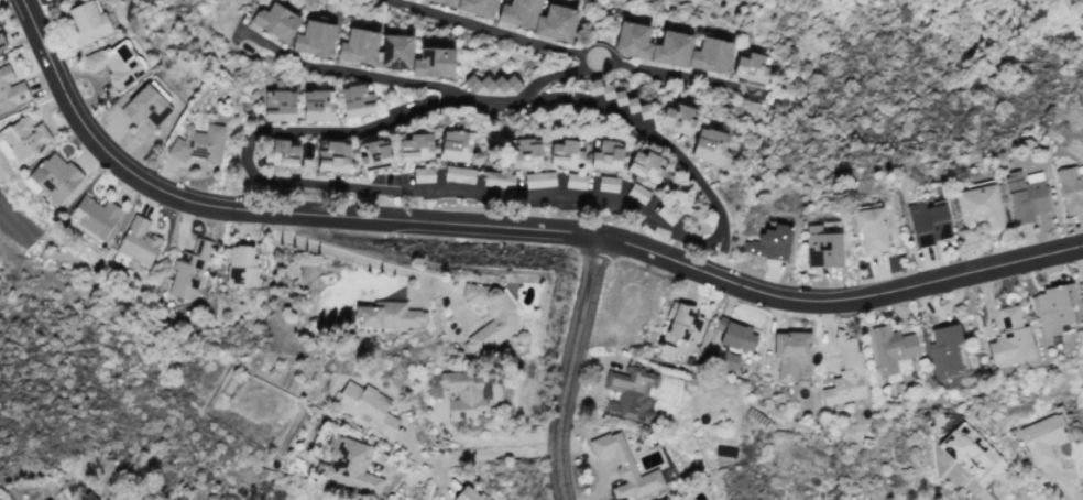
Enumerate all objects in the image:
building: (472, 6)
building: (88, 18)
building: (275, 21)
building: (562, 23)
road: (503, 33)
building: (314, 37)
building: (1, 42)
building: (650, 44)
building: (374, 47)
building: (433, 62)
building: (114, 63)
building: (750, 66)
road: (639, 68)
building: (491, 83)
building: (11, 89)
road: (505, 98)
building: (355, 100)
building: (277, 105)
building: (317, 105)
building: (144, 106)
building: (676, 118)
park: (614, 121)
building: (23, 137)
building: (197, 142)
building: (455, 144)
building: (708, 144)
building: (415, 146)
building: (280, 152)
building: (524, 152)
building: (565, 153)
building: (605, 153)
building: (373, 154)
building: (332, 155)
building: (652, 165)
building: (423, 174)
building: (458, 174)
building: (53, 176)
building: (497, 178)
building: (539, 178)
building: (575, 181)
building: (608, 183)
road: (363, 186)
building: (1070, 188)
building: (637, 193)
building: (1025, 195)
road: (412, 205)
building: (980, 207)
building: (95, 215)
building: (928, 221)
road: (508, 227)
building: (869, 229)
road: (656, 238)
building: (138, 240)
building: (822, 246)
road: (719, 251)
road: (348, 254)
building: (241, 265)
building: (188, 268)
building: (1052, 306)
building: (387, 314)
building: (489, 316)
building: (682, 322)
building: (735, 335)
building: (1013, 340)
building: (944, 348)
building: (893, 349)
building: (789, 351)
building: (728, 360)
road: (570, 366)
building: (800, 371)
building: (845, 373)
building: (463, 393)
building: (631, 393)
building: (367, 406)
building: (1041, 437)
road: (489, 438)
building: (971, 452)
road: (471, 454)
building: (348, 464)
building: (624, 466)
road: (971, 485)
building: (468, 493)
building: (663, 499)

